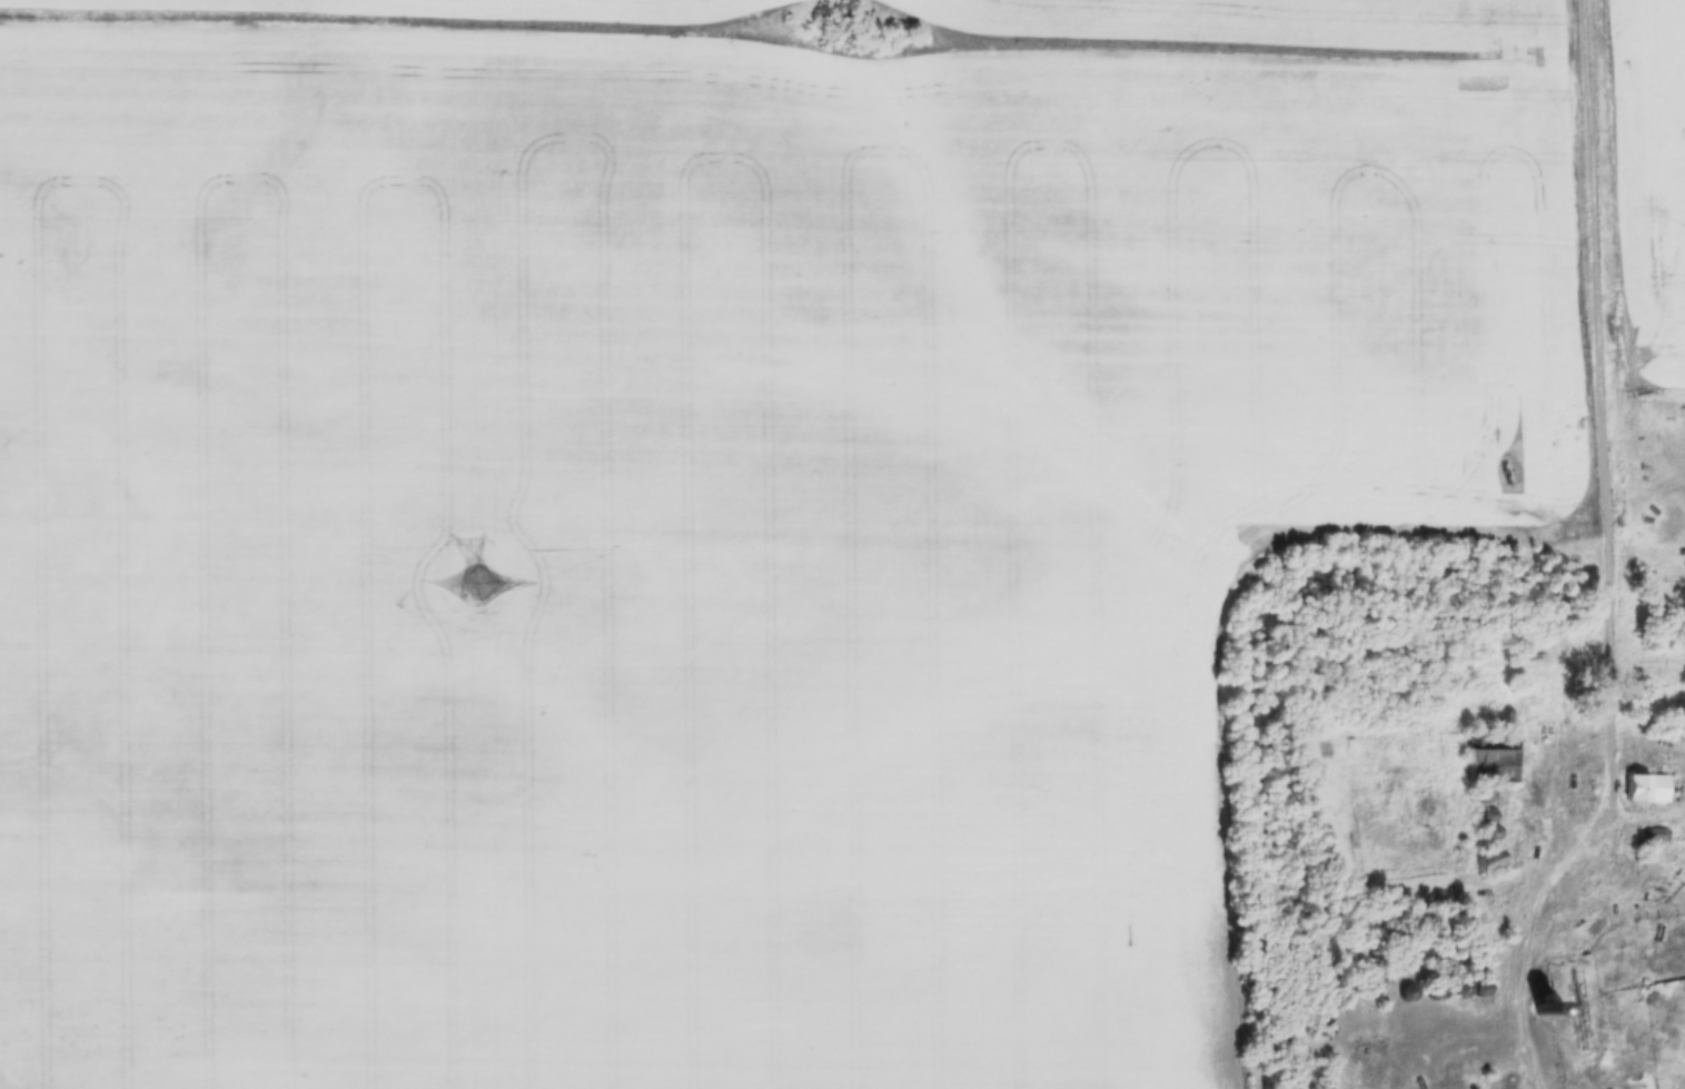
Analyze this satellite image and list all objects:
road: (1603, 406)
power tower: (477, 584)
building: (1494, 753)
building: (1647, 788)
building: (1490, 864)
building: (1481, 989)

